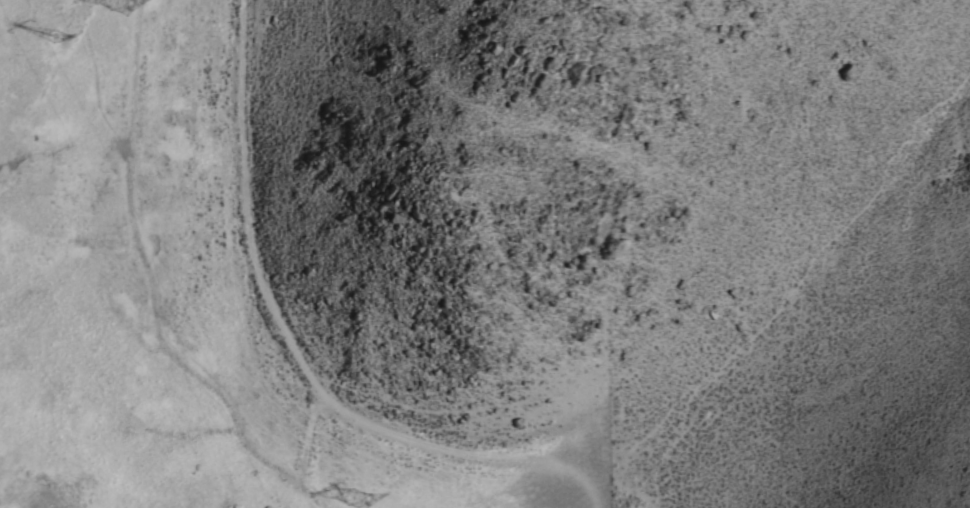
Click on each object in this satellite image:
power tower: (124, 6)
power tower: (55, 39)
road: (296, 347)
power tower: (352, 497)

